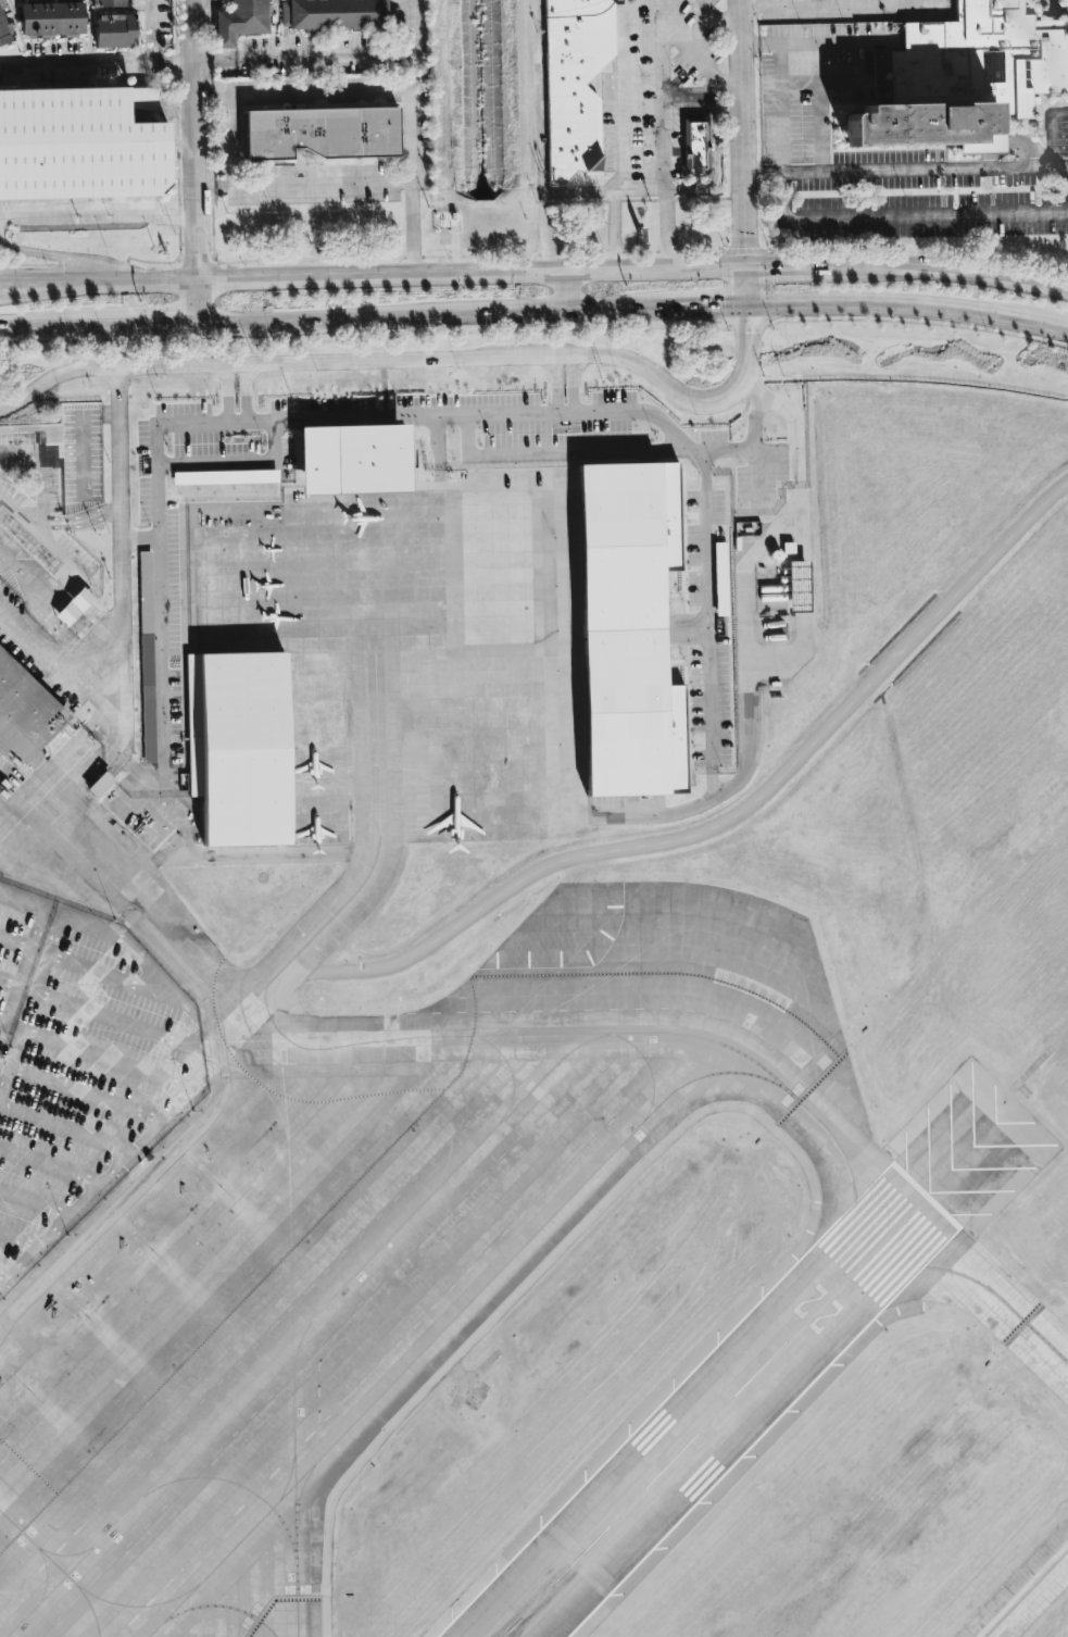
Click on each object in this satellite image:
building: (102, 3)
building: (1067, 7)
road: (632, 8)
building: (331, 14)
road: (648, 15)
building: (45, 20)
building: (235, 22)
road: (414, 28)
road: (150, 32)
building: (110, 33)
building: (2, 35)
road: (824, 42)
road: (307, 61)
road: (154, 63)
road: (177, 64)
road: (75, 68)
building: (964, 78)
building: (571, 83)
road: (843, 83)
road: (781, 89)
road: (676, 96)
river: (483, 98)
road: (820, 109)
building: (316, 135)
road: (199, 138)
road: (226, 141)
parking lot: (77, 145)
building: (78, 146)
building: (693, 147)
road: (410, 152)
road: (745, 152)
road: (906, 170)
road: (546, 198)
road: (783, 199)
road: (75, 208)
road: (664, 211)
road: (929, 217)
road: (413, 232)
traffic signals: (749, 242)
road: (66, 255)
road: (787, 270)
traffic signals: (778, 271)
road: (946, 272)
road: (476, 275)
road: (158, 279)
road: (56, 282)
road: (56, 289)
road: (566, 291)
road: (202, 303)
road: (699, 307)
traffic signals: (720, 307)
road: (424, 311)
road: (910, 311)
road: (85, 328)
road: (164, 328)
road: (22, 329)
road: (536, 330)
traffic signals: (751, 334)
road: (417, 360)
road: (569, 386)
road: (552, 387)
road: (397, 417)
road: (233, 423)
road: (83, 440)
road: (756, 447)
road: (63, 451)
road: (555, 453)
building: (353, 459)
parking lot: (85, 464)
parking lot: (167, 467)
road: (42, 473)
building: (226, 475)
road: (756, 476)
road: (112, 511)
road: (73, 522)
parking lot: (40, 528)
road: (705, 536)
road: (137, 539)
road: (50, 545)
road: (152, 548)
road: (751, 555)
building: (512, 564)
building: (799, 586)
road: (53, 599)
airport apron: (417, 601)
building: (74, 607)
road: (121, 625)
building: (629, 629)
parking lot: (179, 640)
parking lot: (34, 649)
road: (85, 652)
building: (147, 655)
building: (25, 714)
road: (109, 732)
building: (240, 743)
road: (79, 763)
road: (739, 778)
building: (100, 784)
road: (714, 825)
airport taxiway: (380, 835)
road: (42, 905)
airport taxiway: (716, 933)
road: (126, 940)
road: (22, 972)
road: (115, 977)
road: (9, 983)
airport: (533, 1016)
road: (115, 1022)
airport taxiway: (477, 1035)
road: (109, 1062)
road: (5, 1063)
parking lot: (80, 1064)
airport taxiway: (513, 1077)
road: (222, 1078)
road: (87, 1094)
airport taxiway: (505, 1115)
road: (50, 1165)
road: (118, 1165)
road: (35, 1201)
airport apron: (322, 1202)
airport taxiway: (856, 1202)
road: (20, 1236)
airport taxiway: (926, 1265)
airport taxiway: (440, 1334)
airport runway: (715, 1414)
airport taxiway: (296, 1478)
airport taxiway: (288, 1480)
airport taxiway: (246, 1487)
airport taxiway: (301, 1491)
airport taxiway: (63, 1552)
airport taxiway: (47, 1571)
airport taxiway: (91, 1594)
airport taxiway: (1026, 1594)
airport taxiway: (225, 1607)
airport taxiway: (92, 1608)

